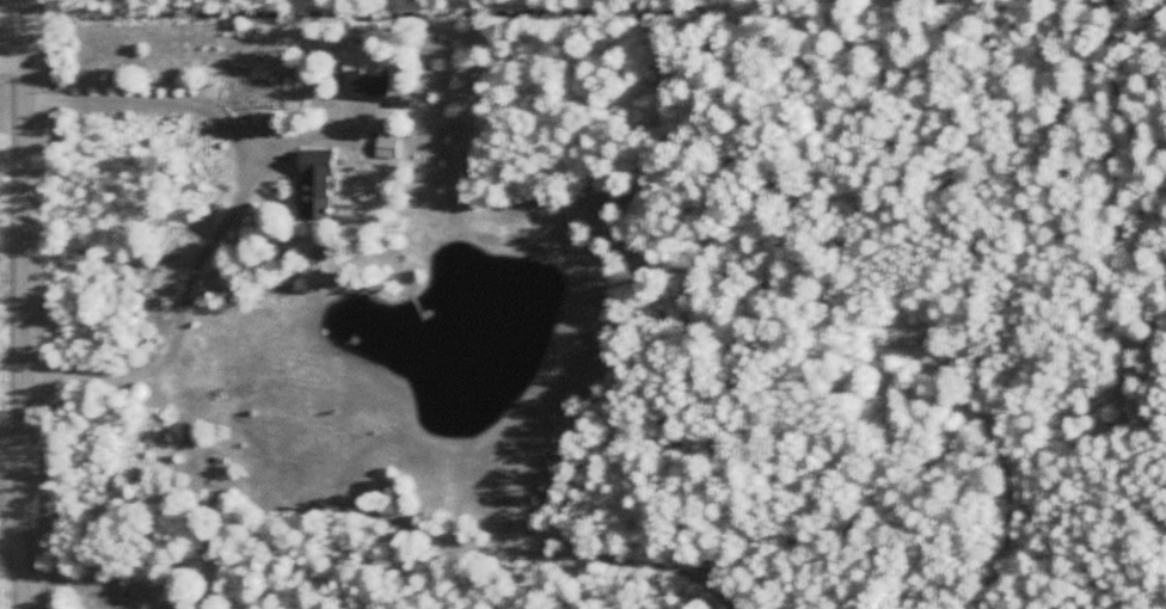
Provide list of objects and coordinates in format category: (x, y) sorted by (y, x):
building: (366, 84)
building: (312, 182)
road: (237, 207)
road: (30, 303)
road: (16, 537)

